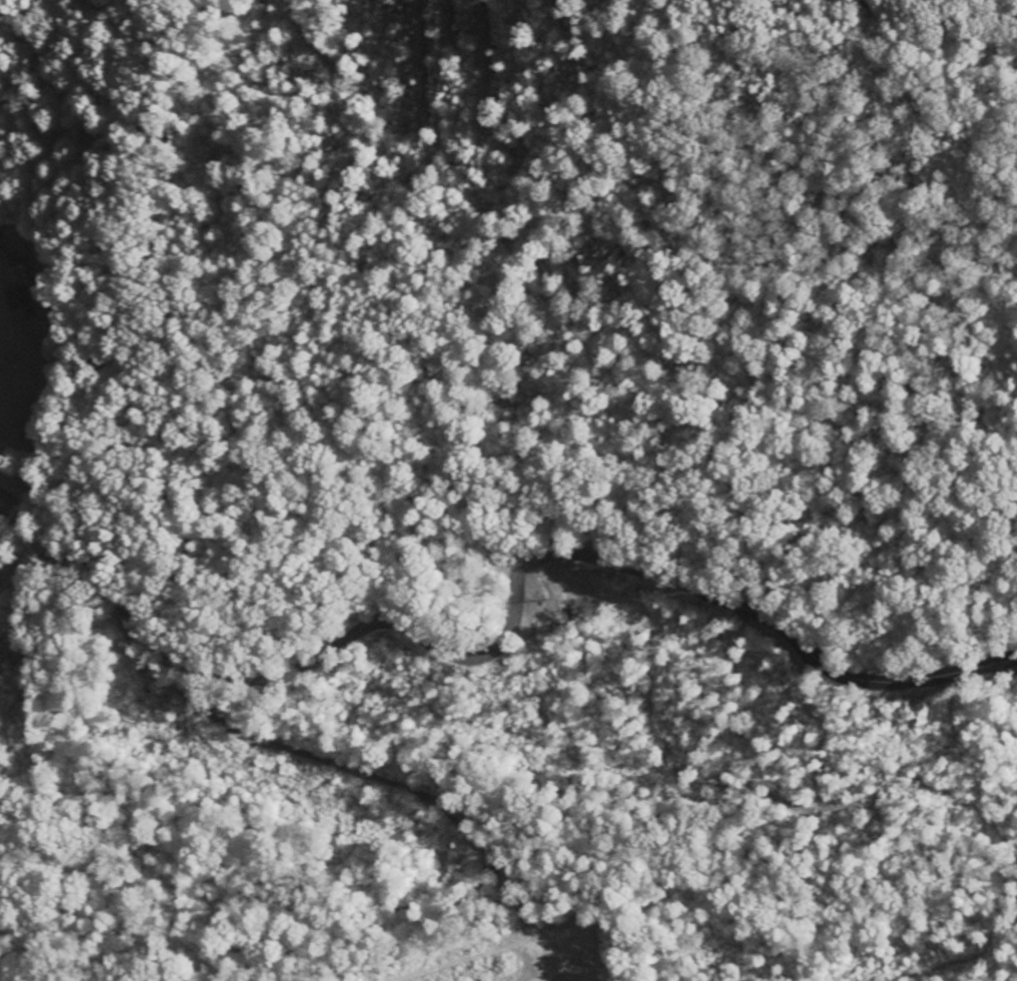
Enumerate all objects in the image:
road: (511, 630)

